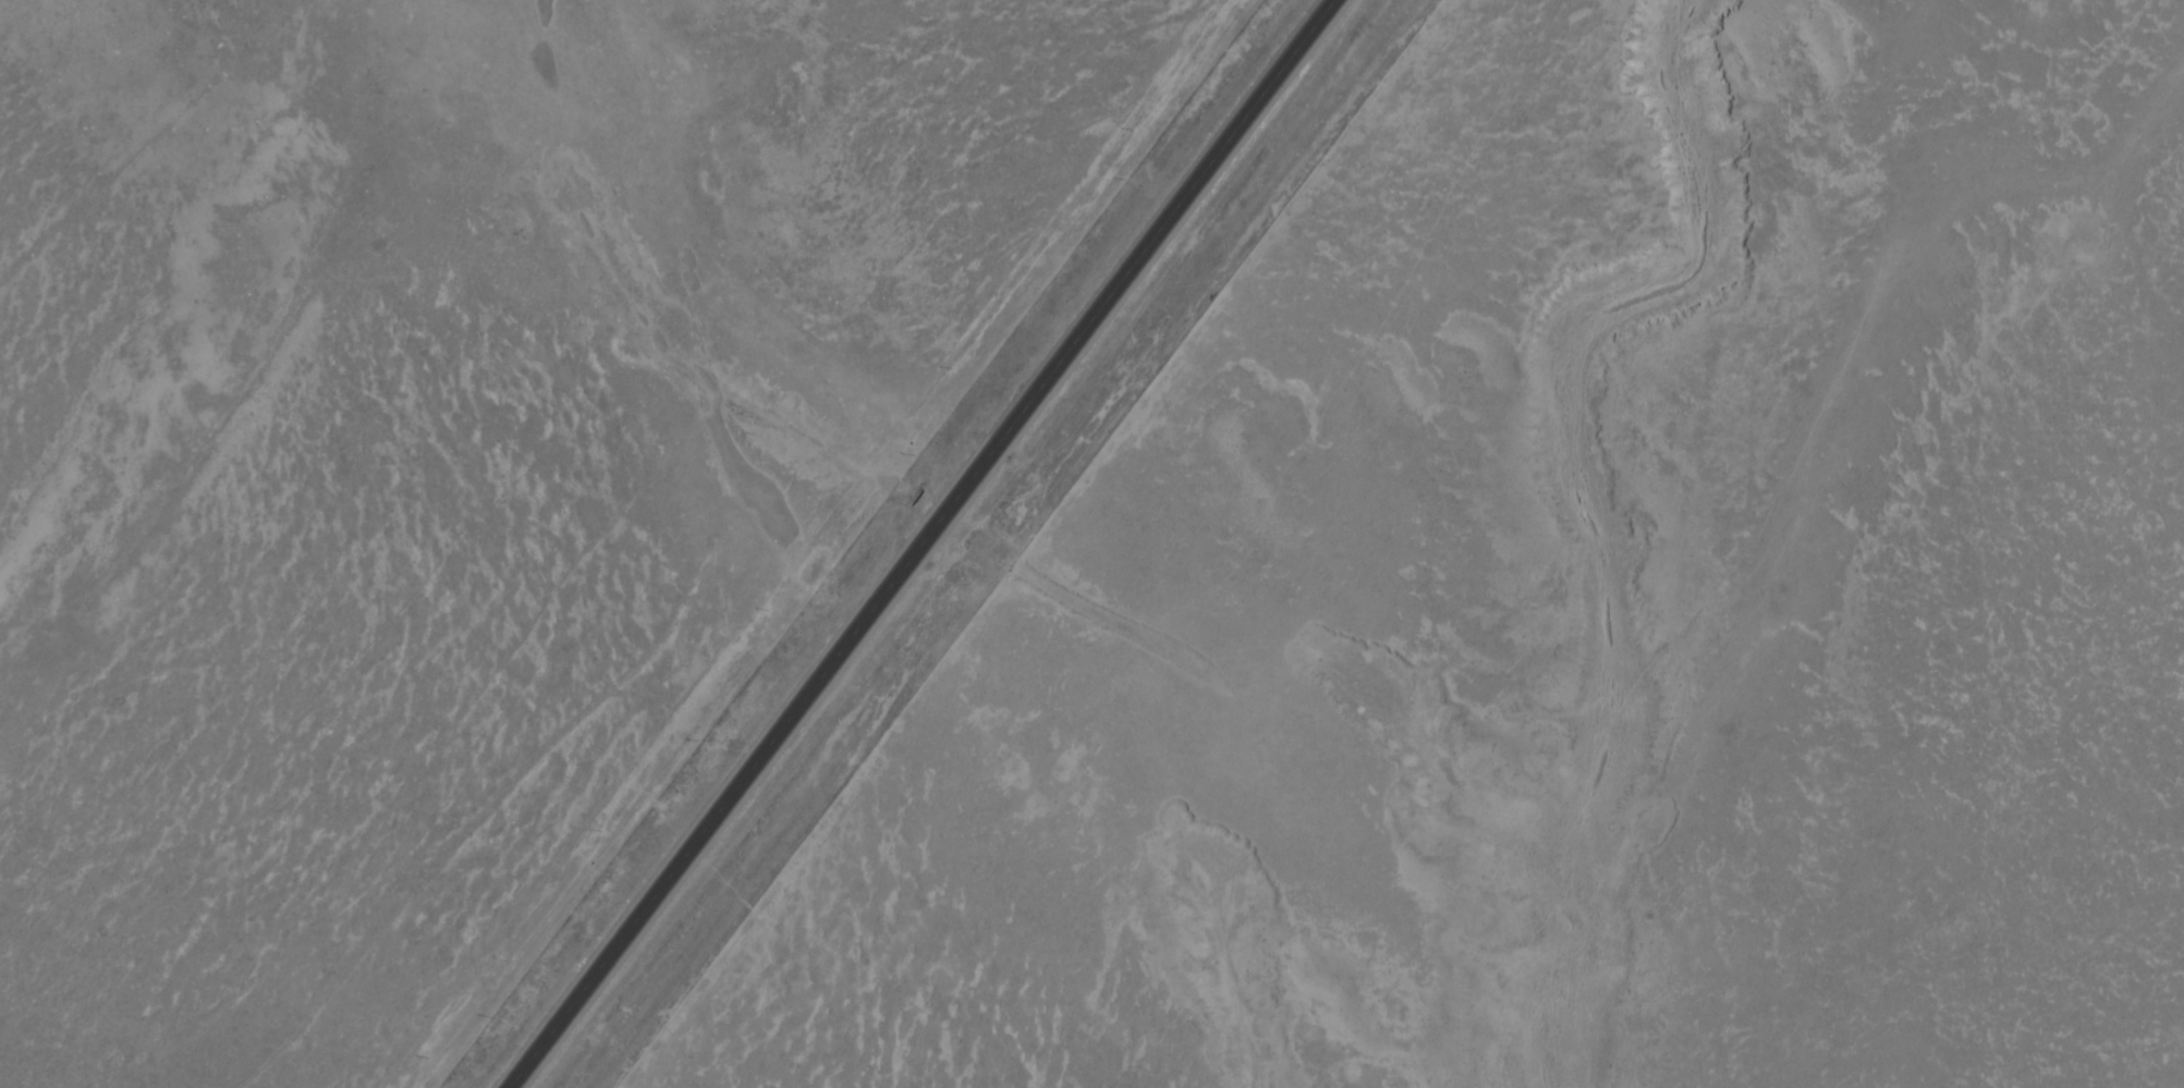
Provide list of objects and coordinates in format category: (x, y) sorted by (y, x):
road: (209, 303)
road: (919, 543)

